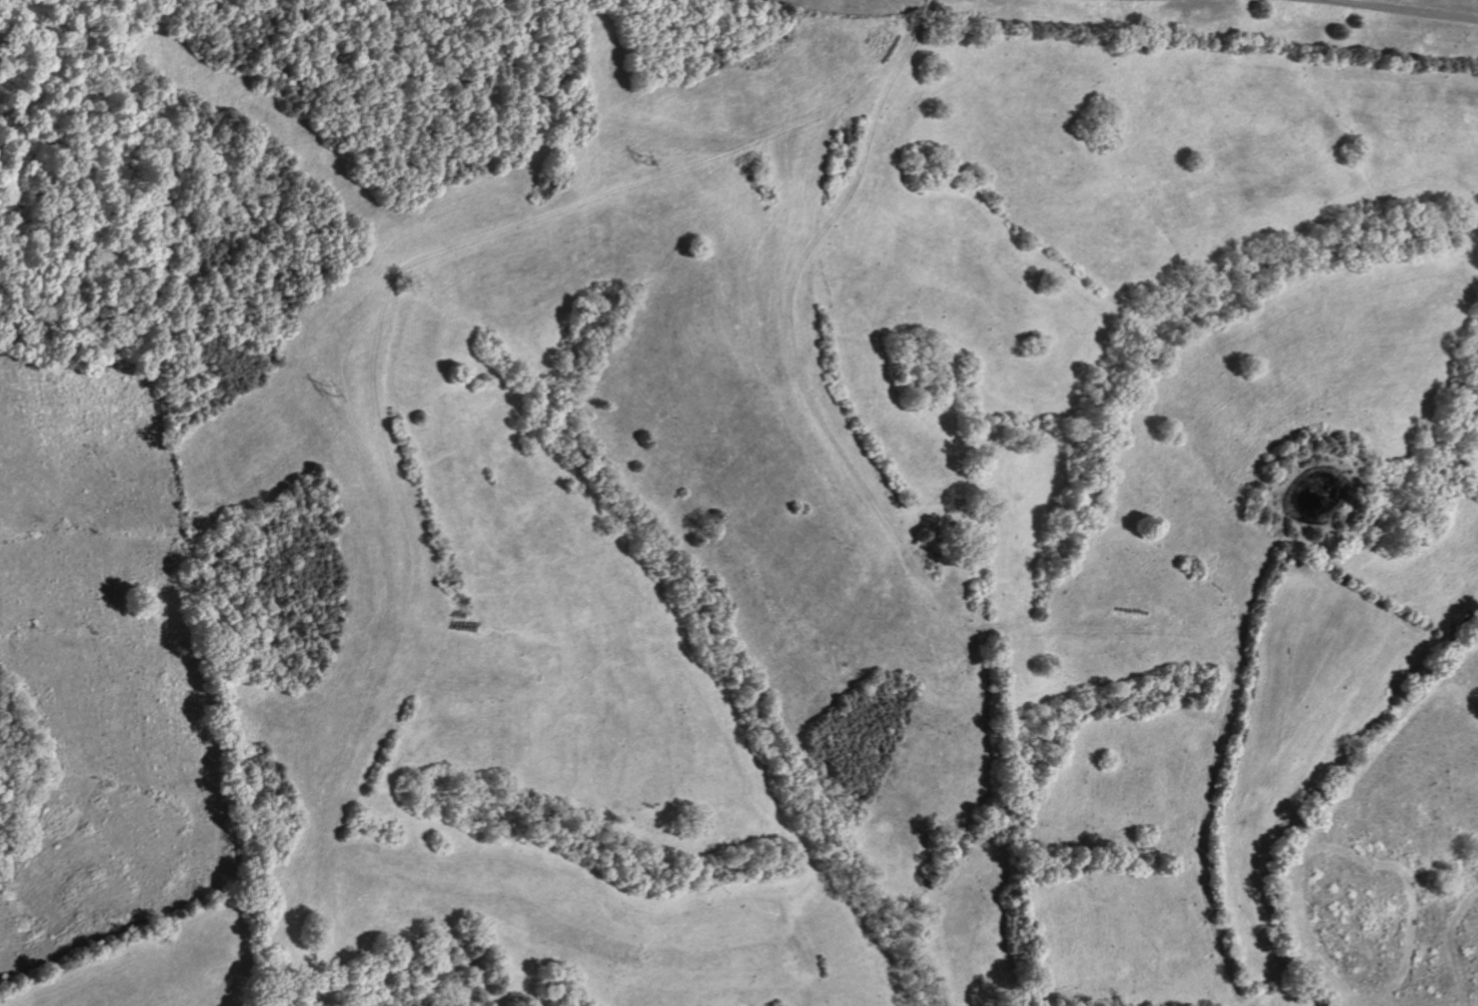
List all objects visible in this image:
road: (1408, 8)

